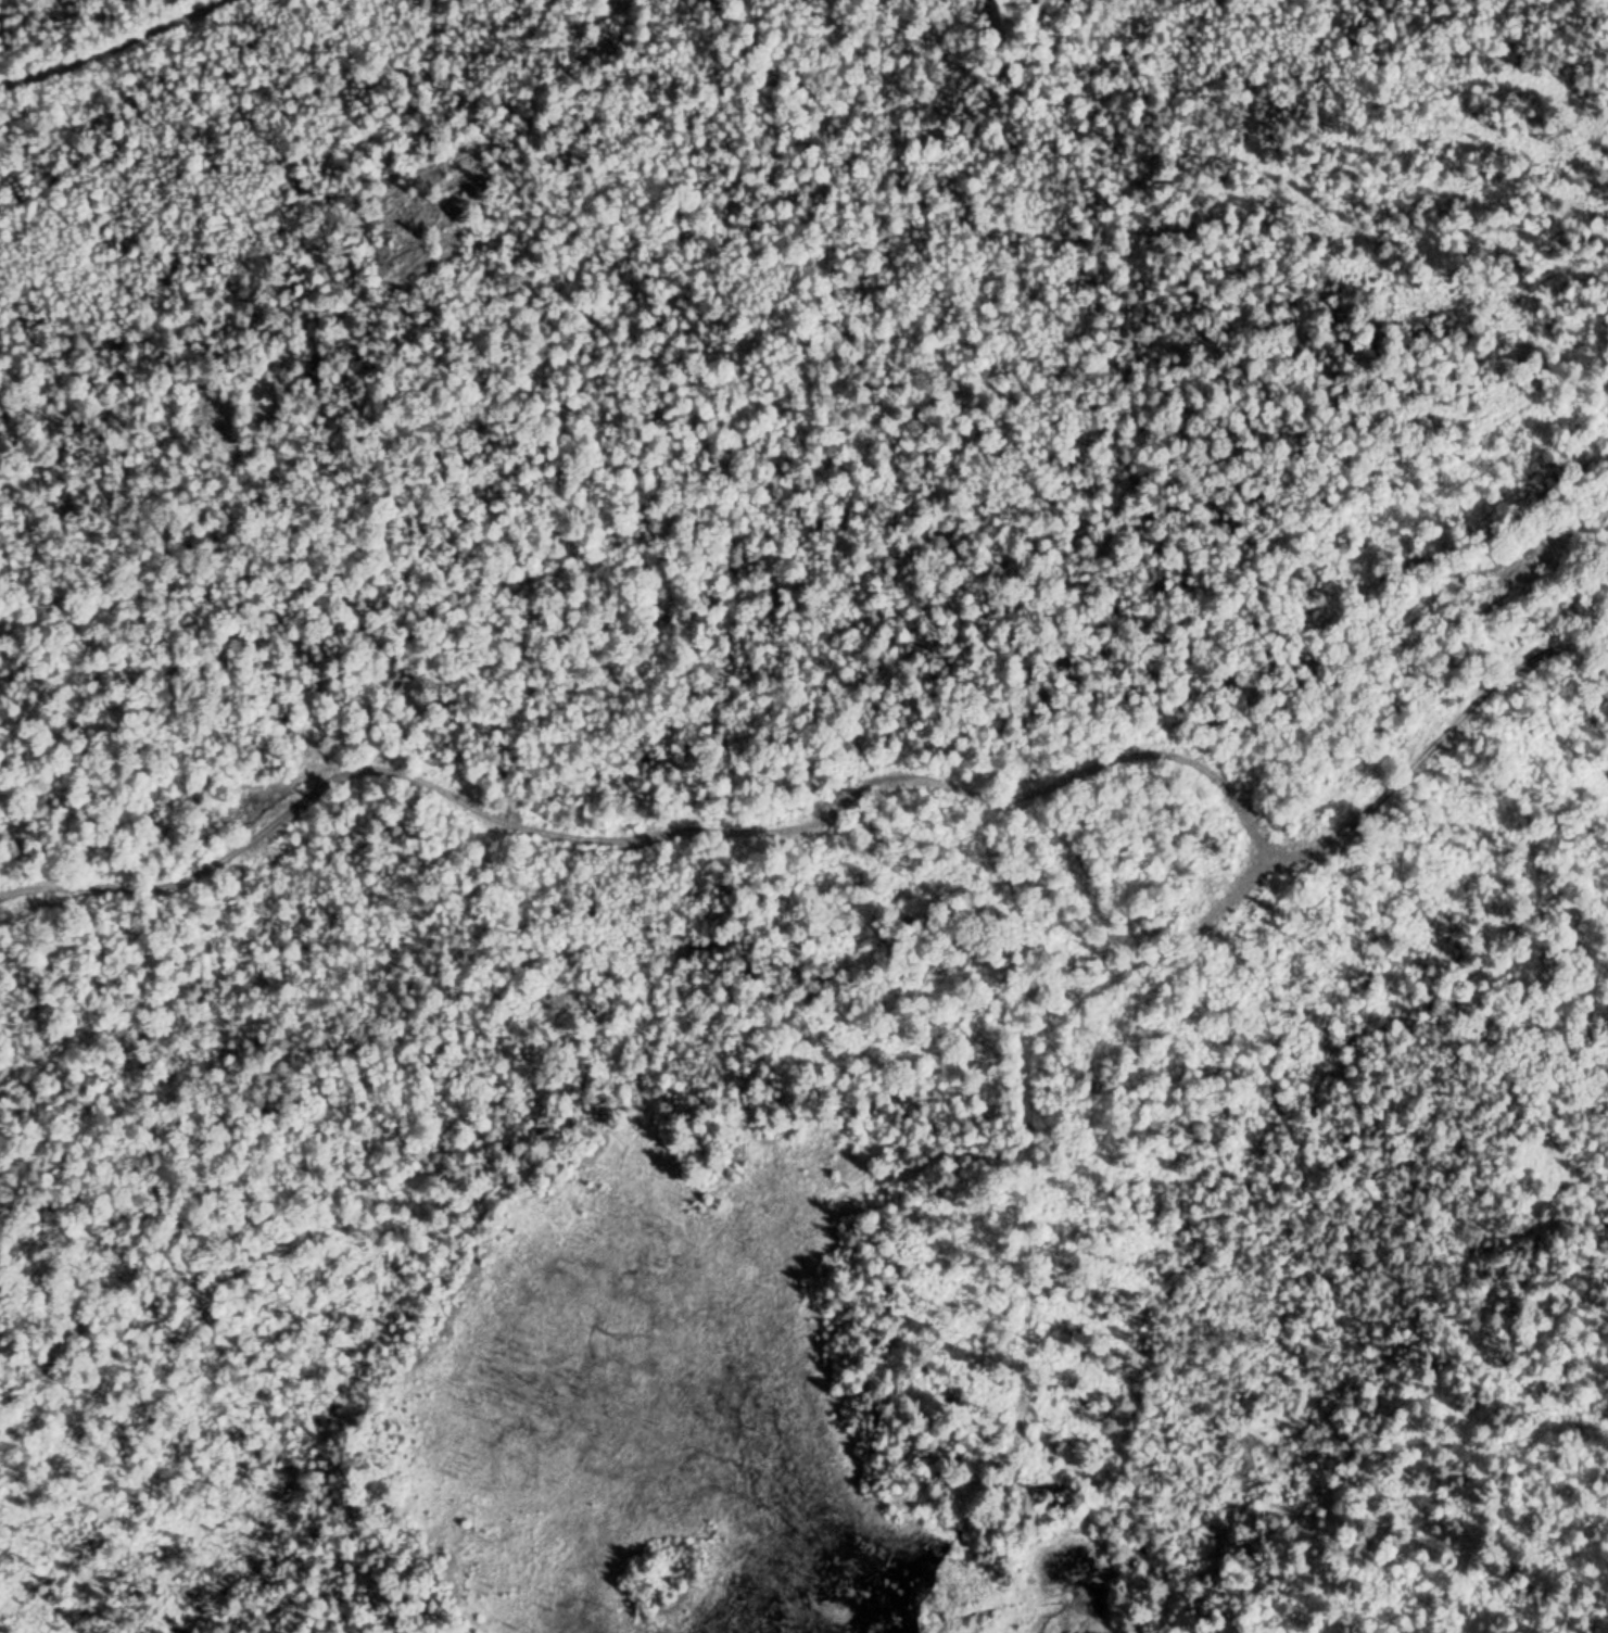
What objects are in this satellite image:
road: (107, 46)

